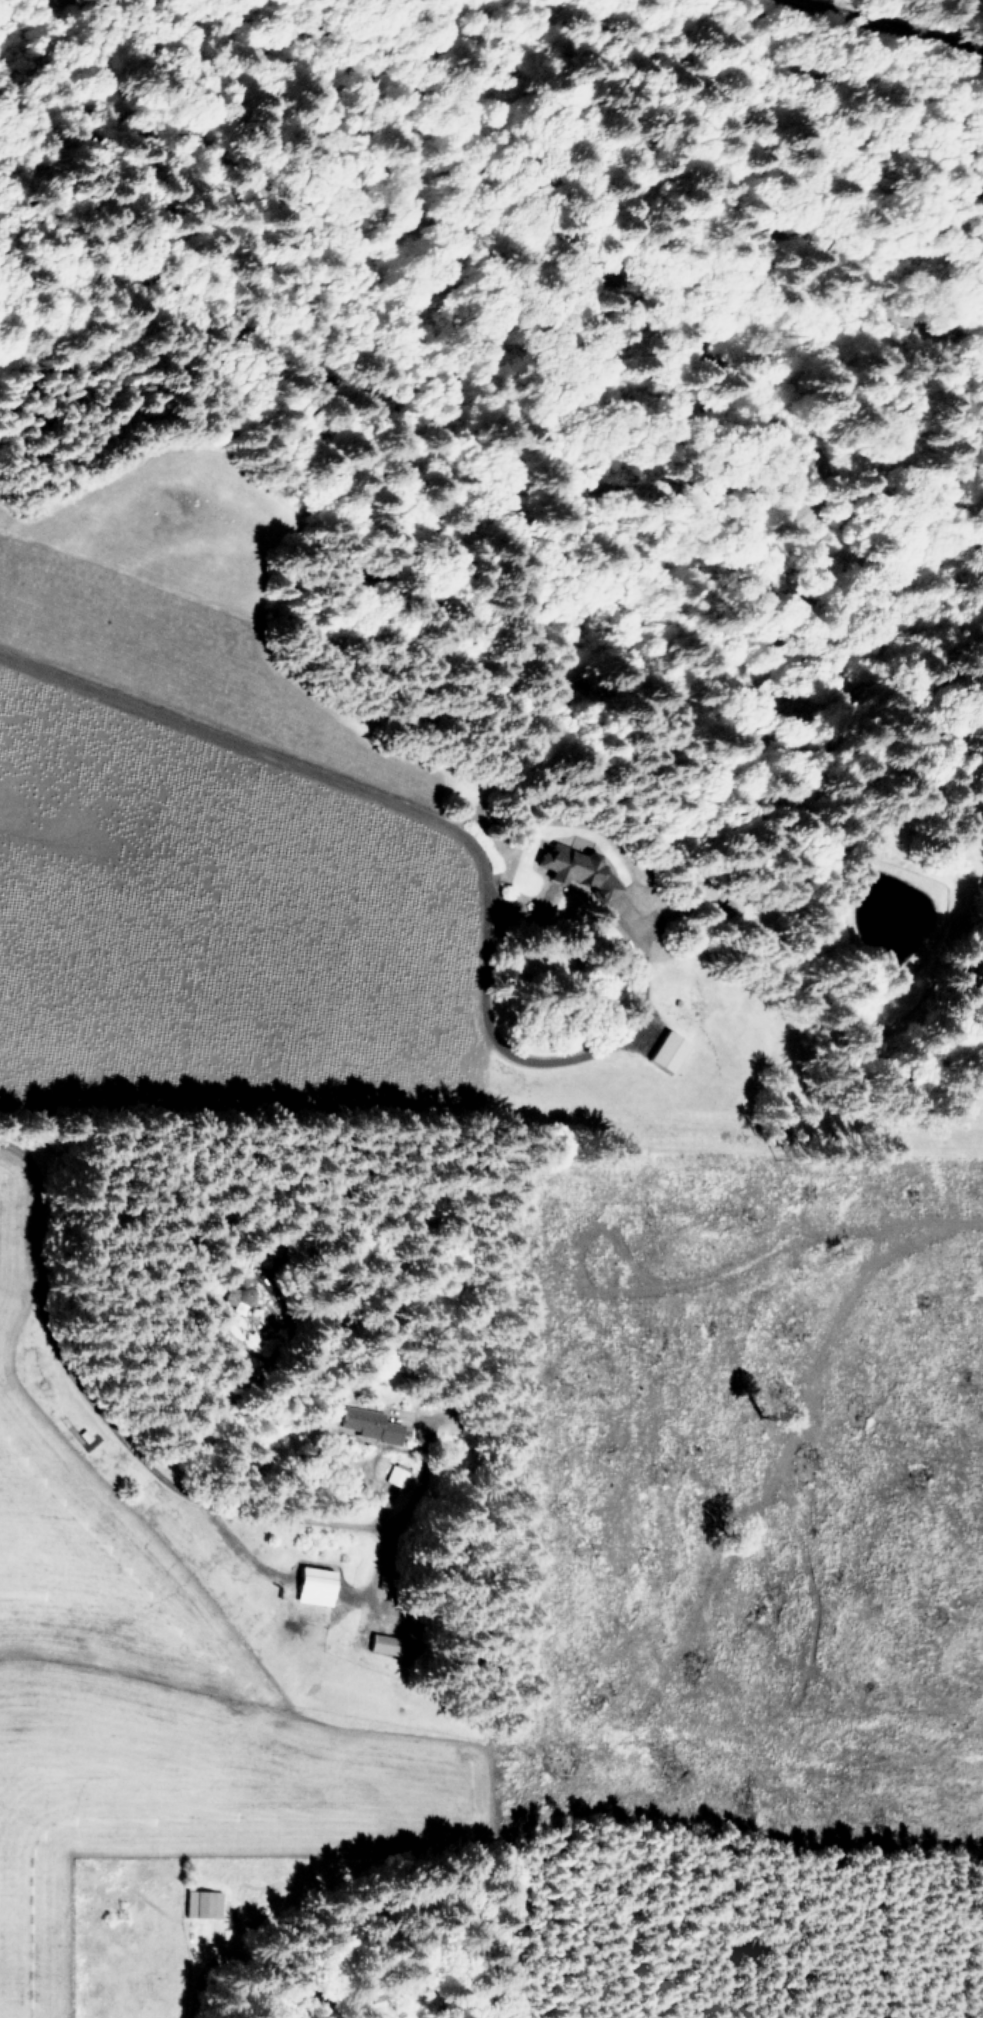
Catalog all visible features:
railway: (895, 26)
road: (456, 48)
road: (178, 77)
road: (747, 552)
road: (456, 839)
building: (580, 870)
crop: (308, 945)
building: (668, 1051)
road: (239, 1405)
building: (367, 1422)
road: (146, 1471)
building: (315, 1585)
road: (292, 1608)
building: (387, 1644)
building: (202, 1902)
road: (233, 1943)

